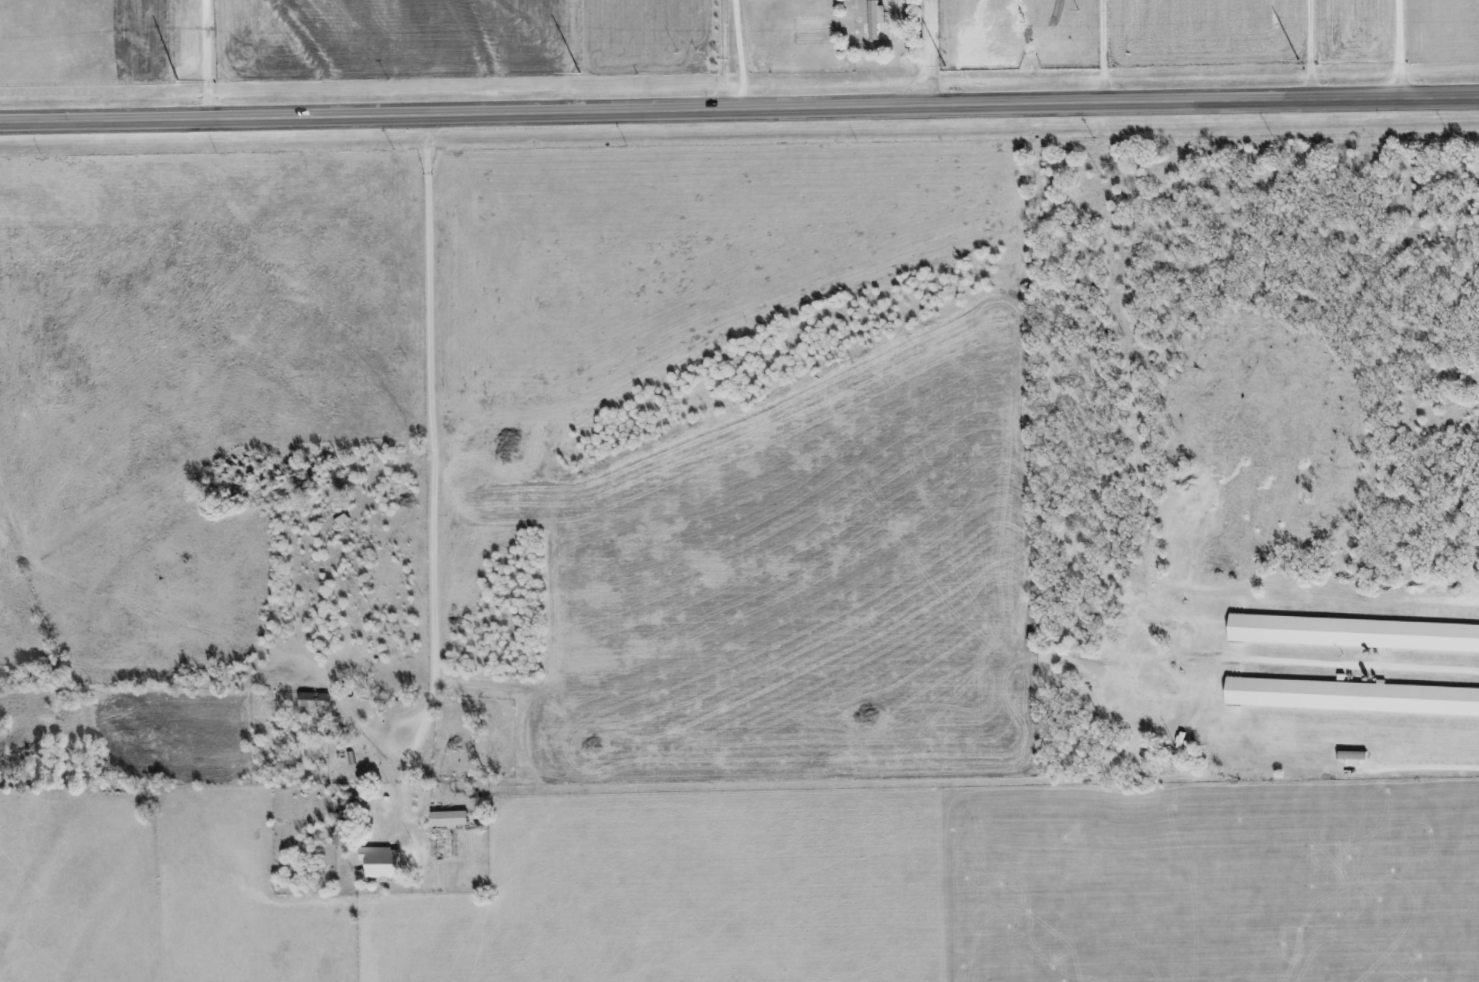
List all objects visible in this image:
building: (877, 18)
road: (1403, 49)
road: (1308, 50)
road: (1116, 52)
road: (928, 54)
road: (724, 56)
road: (206, 60)
power tower: (1299, 64)
power tower: (1113, 69)
power tower: (949, 70)
power tower: (583, 77)
power tower: (176, 80)
road: (739, 111)
road: (432, 478)
building: (1355, 632)
building: (1352, 695)
building: (315, 700)
building: (1191, 747)
building: (1353, 755)
road: (1431, 766)
building: (451, 818)
building: (341, 839)
building: (383, 861)

